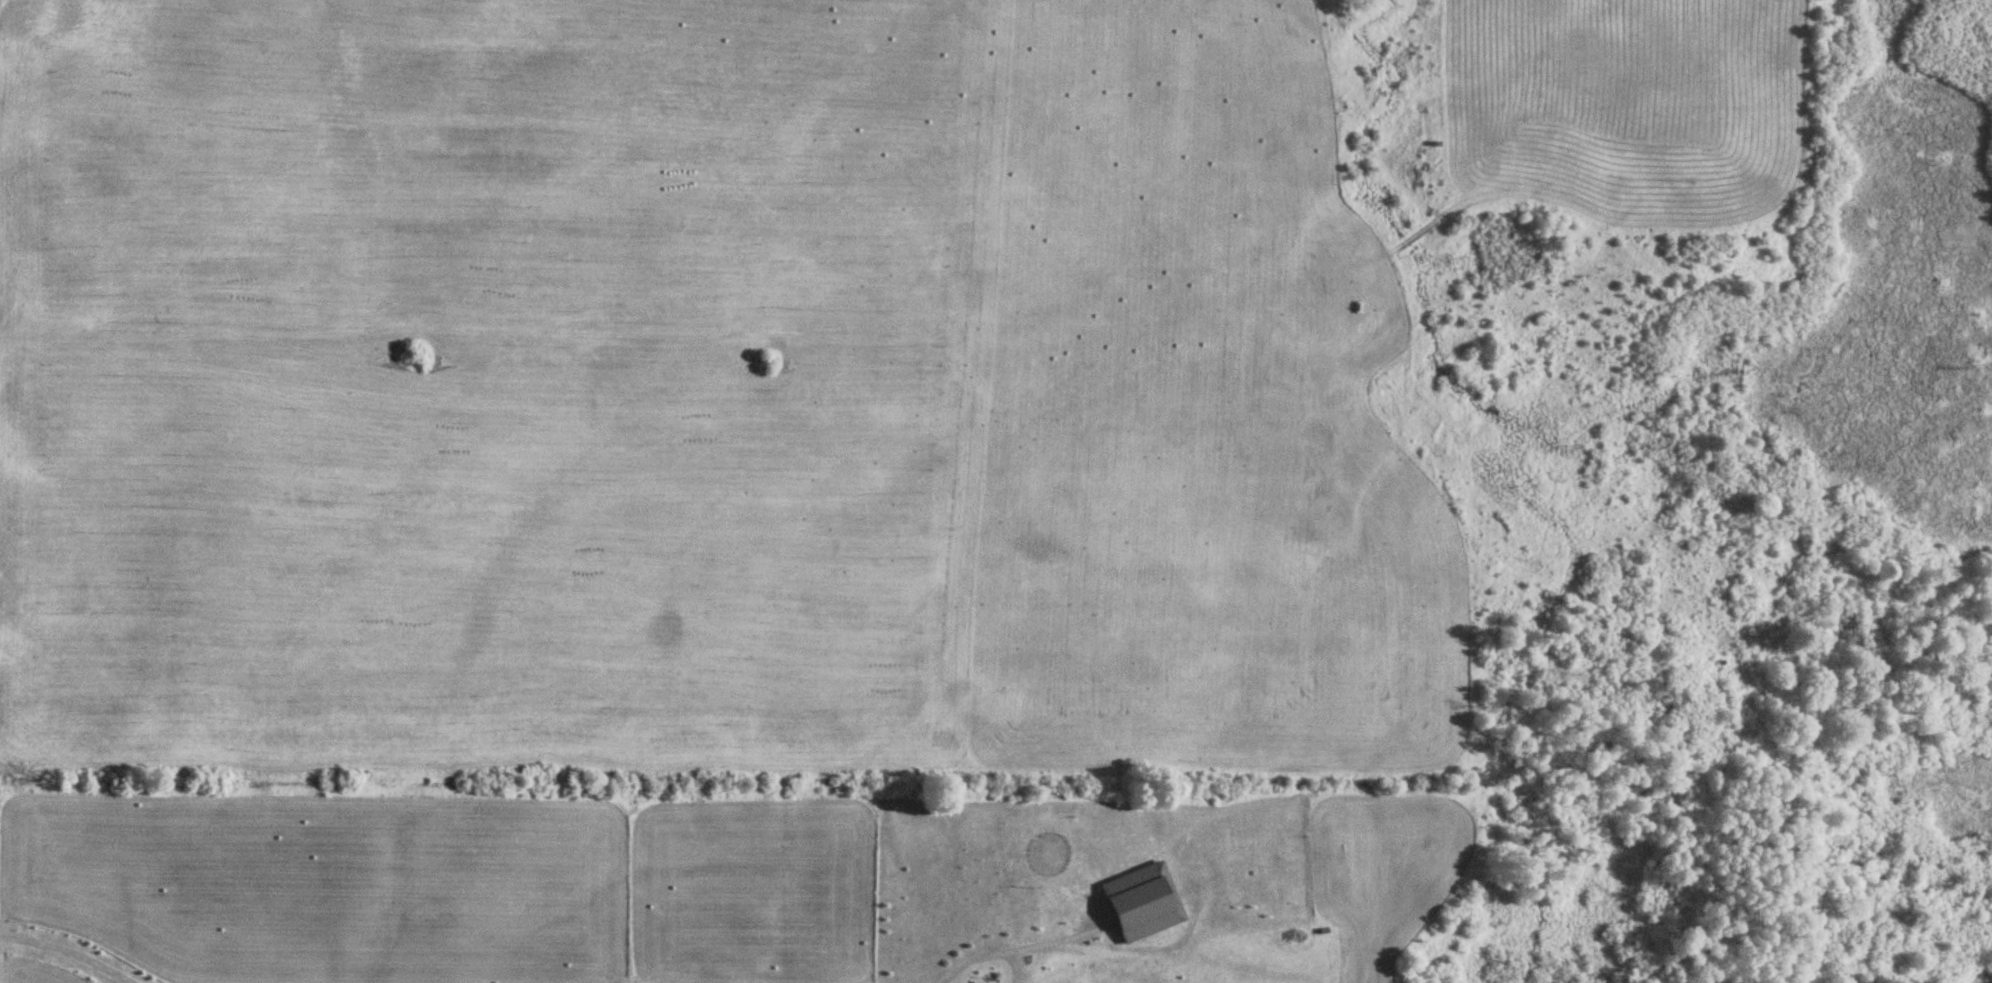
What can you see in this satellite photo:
building: (1141, 903)

